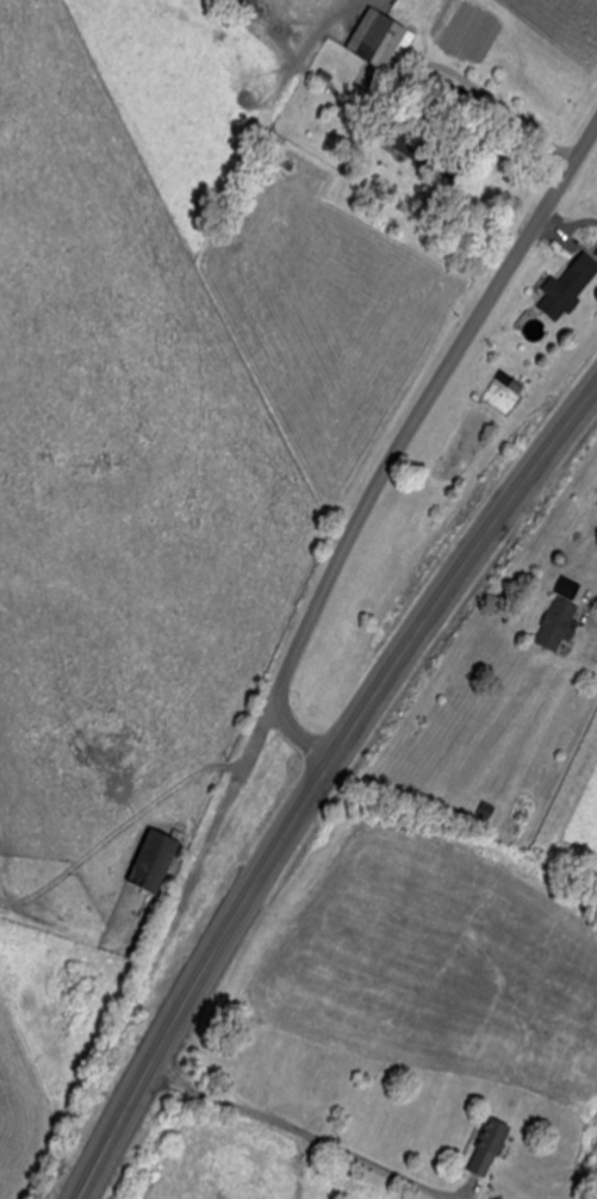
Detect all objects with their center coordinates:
building: (381, 38)
building: (443, 161)
building: (568, 286)
road: (402, 442)
building: (558, 625)
road: (259, 734)
road: (318, 781)
building: (487, 810)
building: (155, 861)
road: (301, 1129)
building: (491, 1143)

